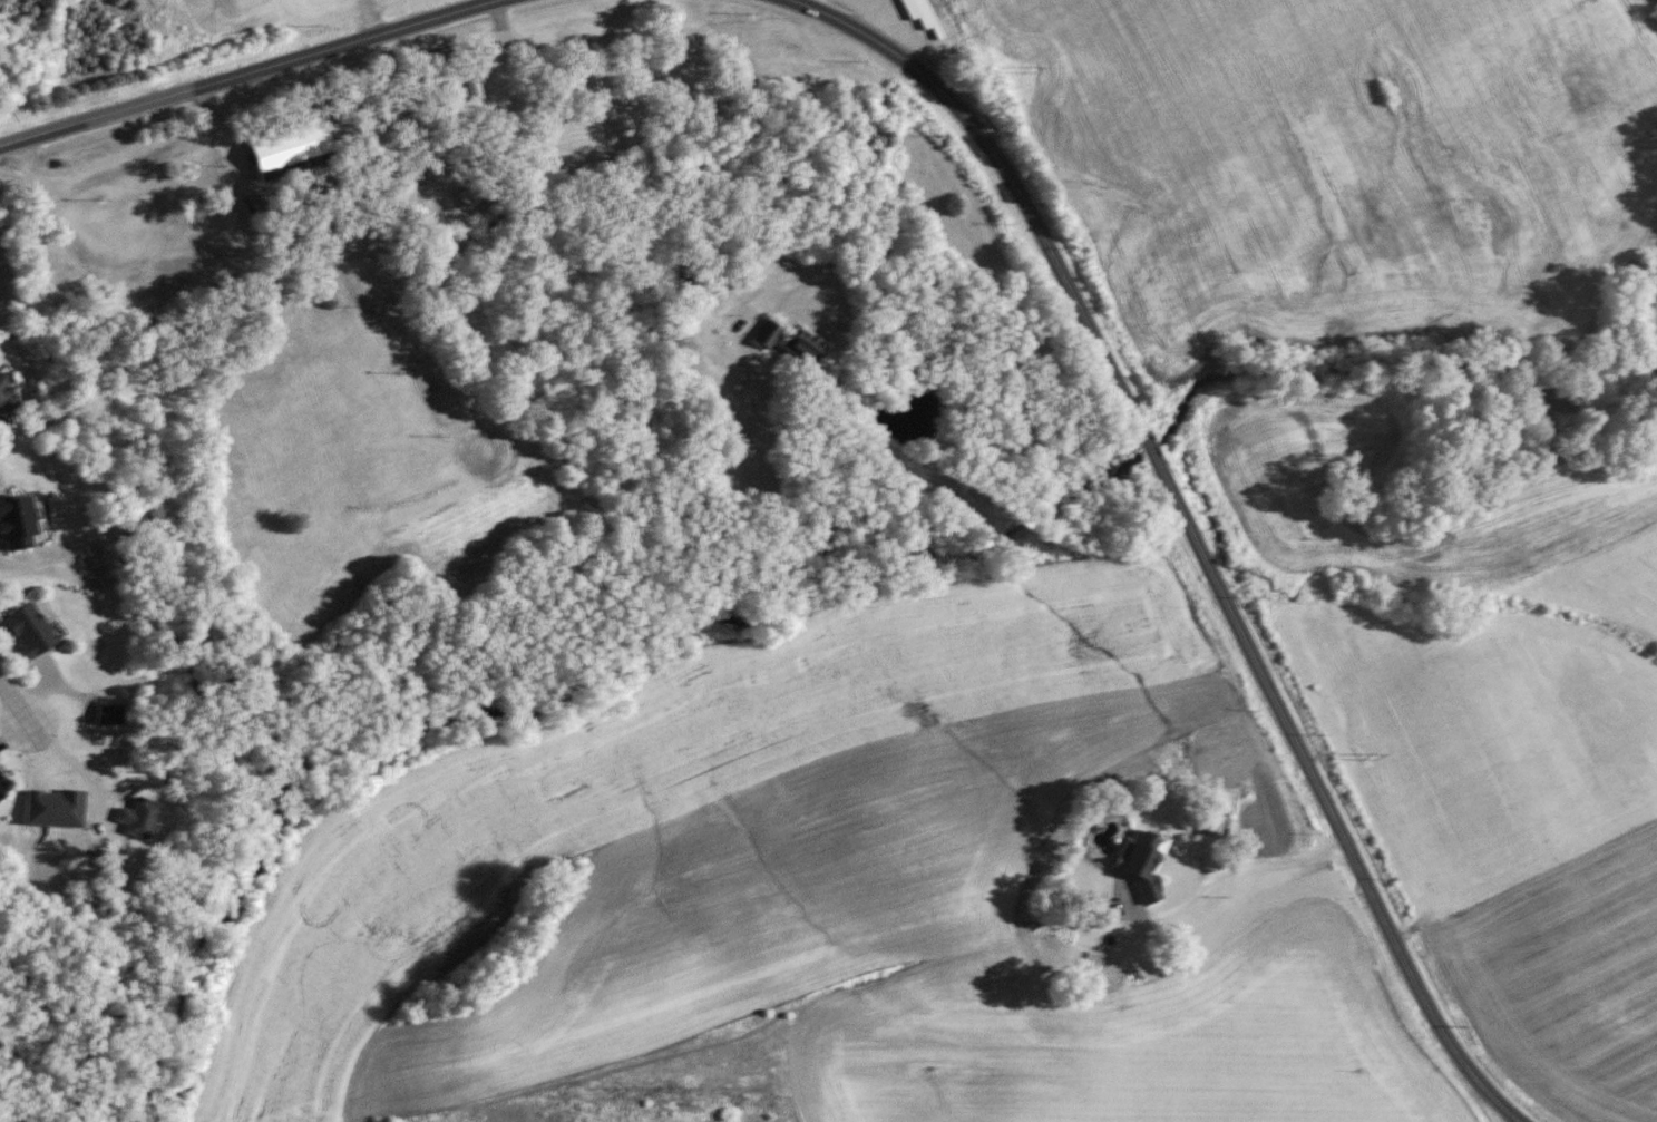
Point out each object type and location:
building: (935, 18)
building: (438, 58)
road: (254, 75)
building: (474, 88)
building: (452, 92)
building: (411, 101)
building: (348, 114)
building: (289, 149)
road: (234, 152)
building: (401, 164)
building: (468, 195)
building: (345, 201)
road: (325, 246)
road: (947, 336)
building: (788, 343)
building: (7, 392)
building: (16, 524)
road: (1191, 526)
building: (29, 631)
road: (10, 706)
building: (108, 715)
road: (71, 763)
building: (2, 786)
building: (1212, 821)
building: (1124, 835)
road: (1245, 869)
road: (1500, 1114)

